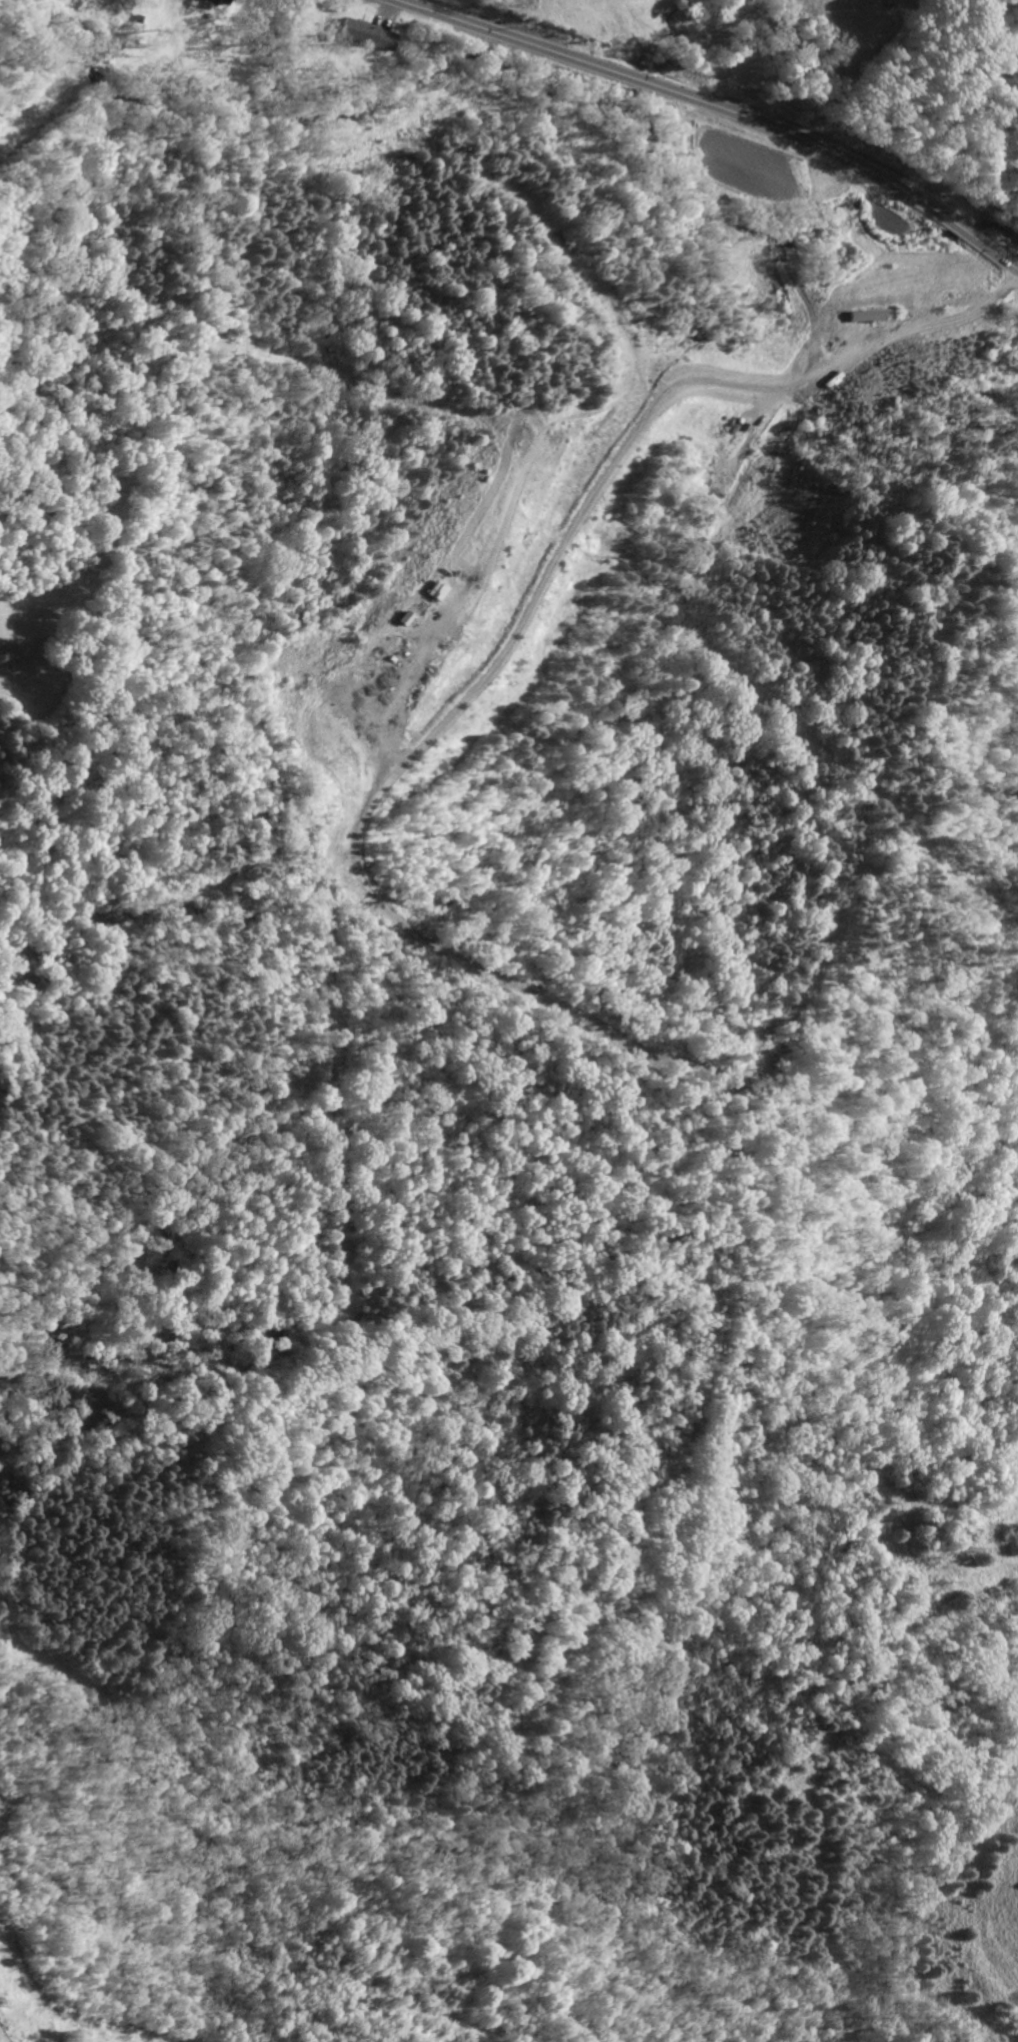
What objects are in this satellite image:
building: (364, 35)
road: (721, 107)
building: (865, 315)
road: (646, 402)

